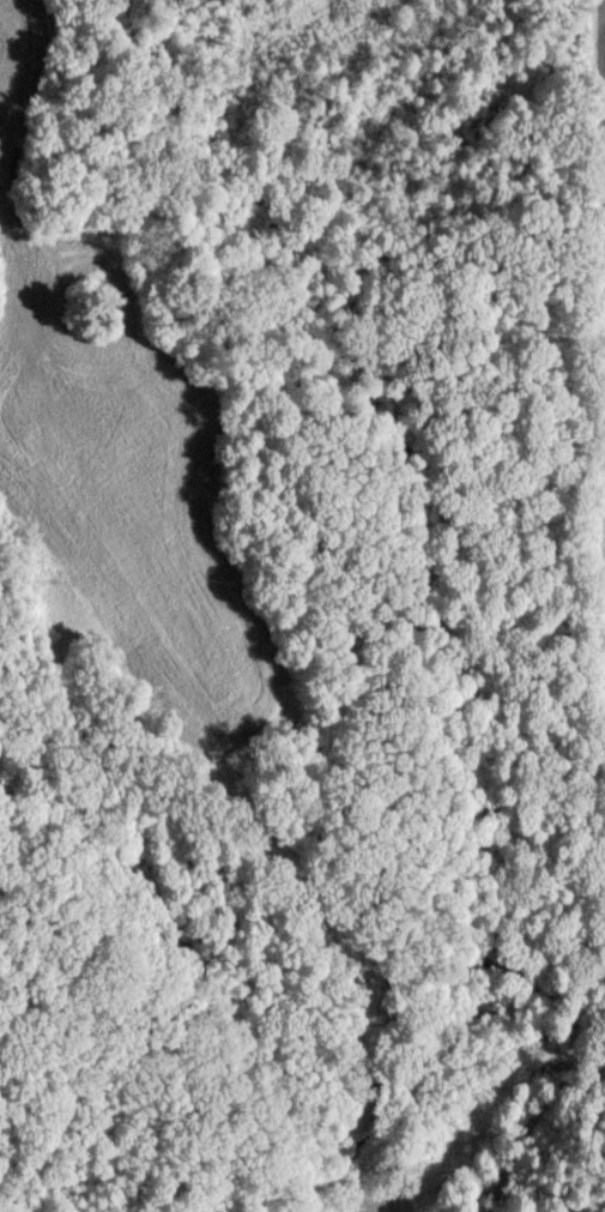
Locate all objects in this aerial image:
road: (528, 1124)

